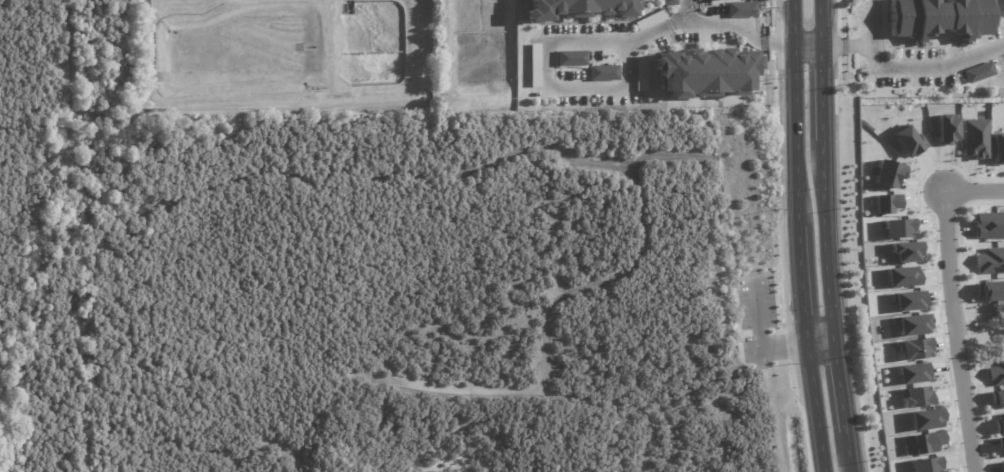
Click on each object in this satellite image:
building: (668, 2)
building: (575, 8)
building: (741, 9)
road: (684, 10)
building: (941, 18)
building: (649, 20)
road: (869, 22)
road: (709, 23)
road: (817, 24)
road: (843, 47)
road: (803, 49)
building: (571, 58)
road: (932, 67)
building: (534, 69)
building: (701, 71)
building: (603, 72)
building: (640, 74)
building: (978, 74)
road: (551, 83)
road: (819, 93)
road: (791, 124)
building: (945, 129)
building: (974, 138)
building: (908, 141)
building: (998, 149)
road: (362, 172)
building: (884, 204)
building: (988, 225)
building: (897, 227)
road: (823, 240)
building: (905, 252)
building: (990, 260)
building: (901, 277)
park: (352, 279)
road: (799, 297)
building: (907, 300)
road: (952, 305)
parking lot: (756, 320)
building: (910, 324)
road: (755, 335)
road: (816, 344)
building: (914, 348)
building: (911, 373)
road: (837, 385)
road: (525, 387)
building: (915, 397)
building: (997, 398)
road: (810, 409)
building: (924, 419)
building: (999, 423)
road: (135, 434)
building: (922, 443)
building: (1000, 444)
road: (847, 450)
building: (925, 464)
building: (1001, 466)

